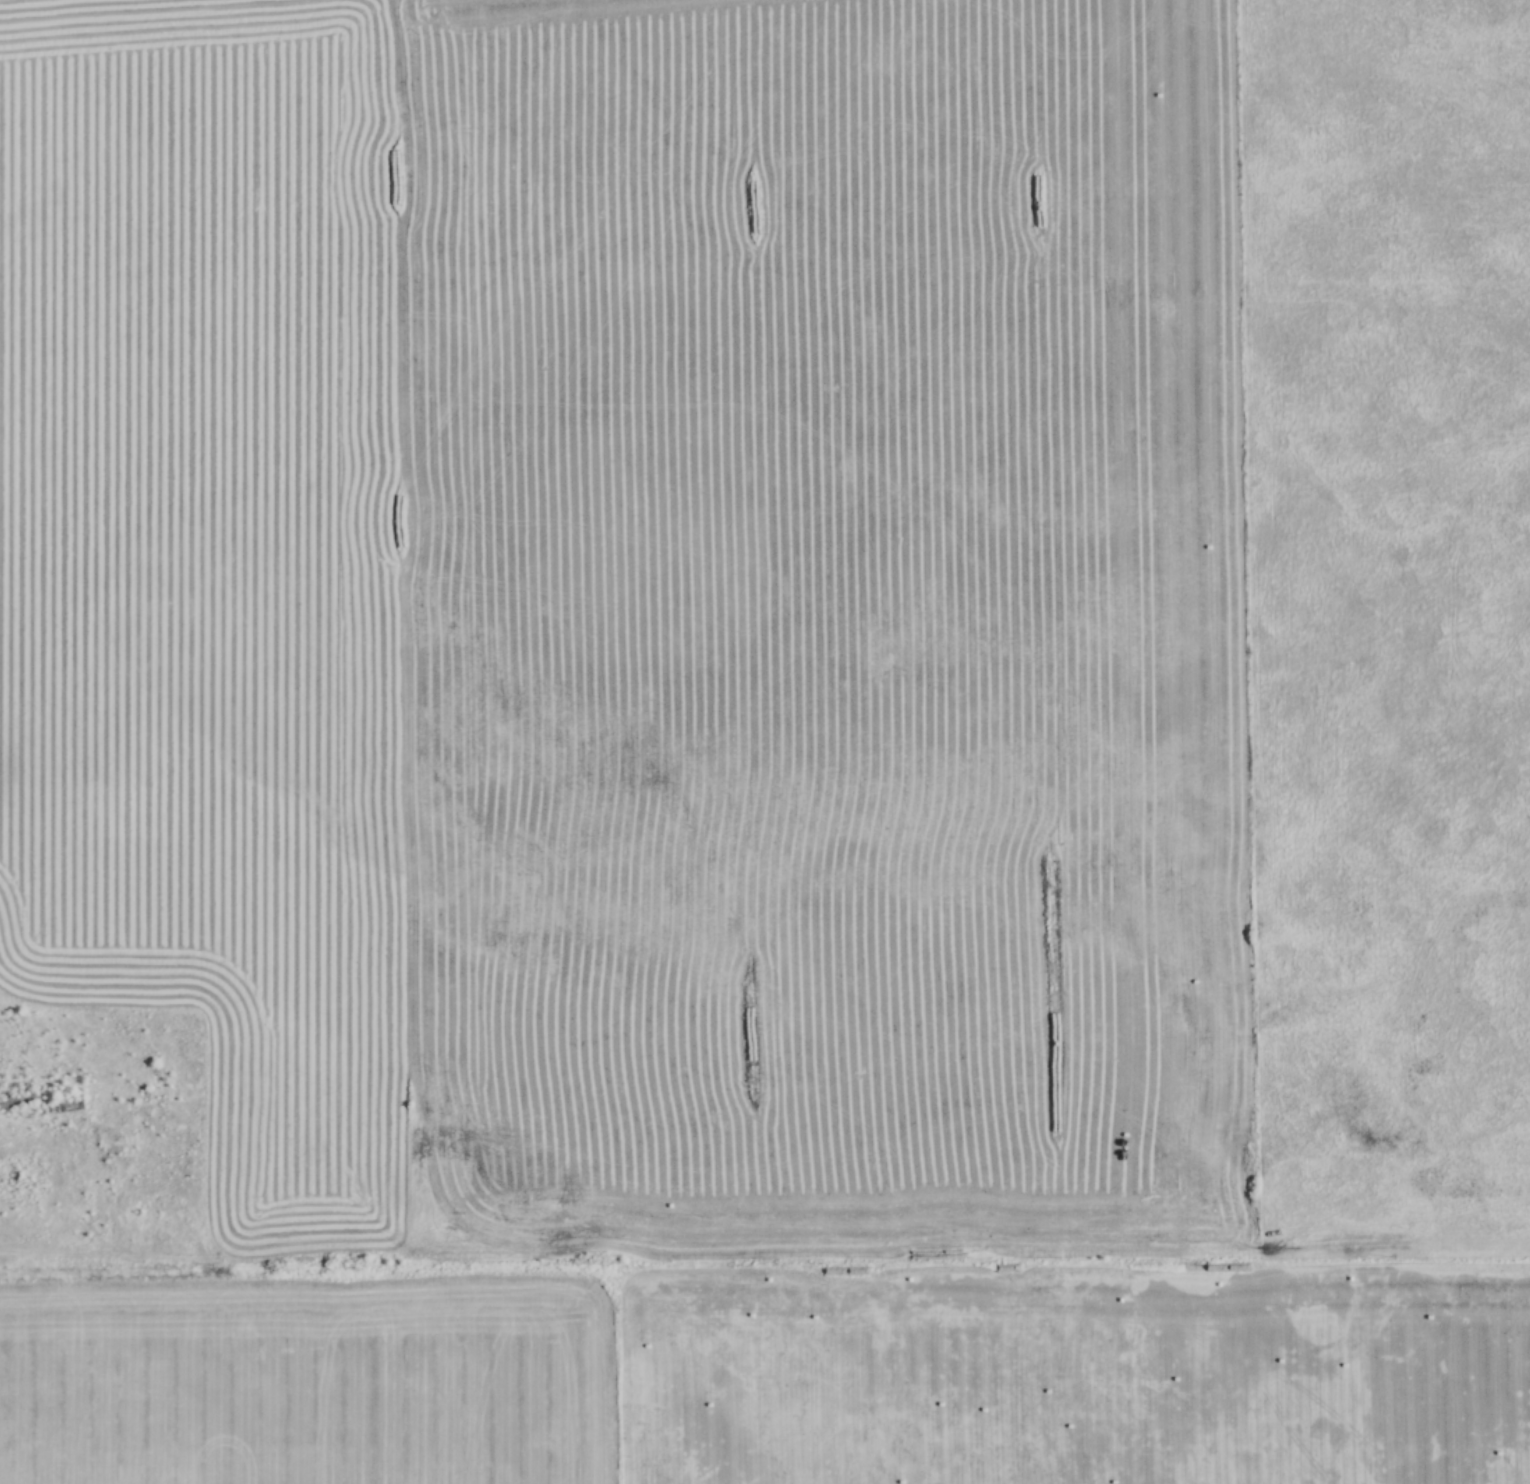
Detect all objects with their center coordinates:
building: (20, 1101)
building: (64, 1108)

